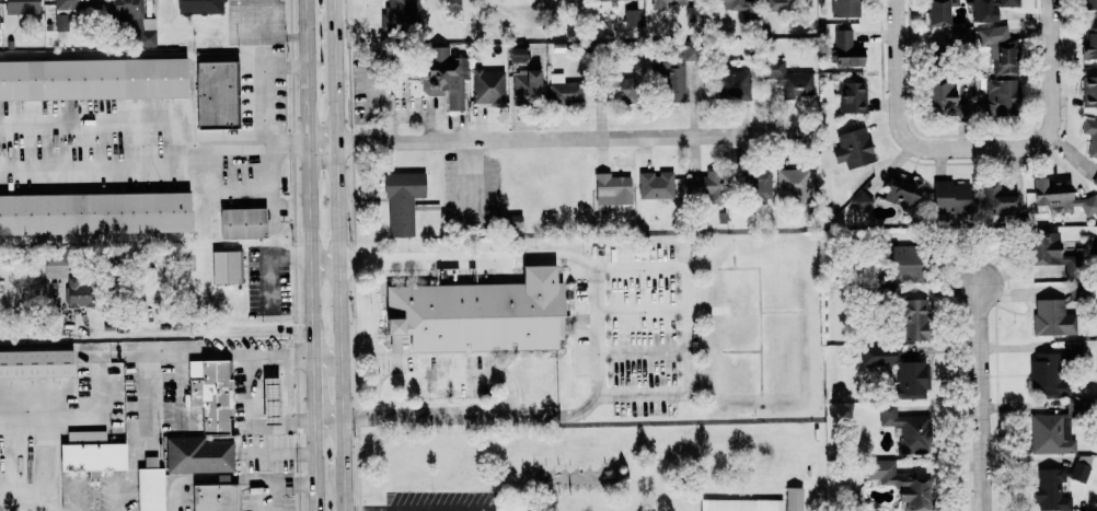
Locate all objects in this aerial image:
building: (604, 0)
building: (667, 2)
building: (1089, 3)
building: (453, 4)
building: (731, 4)
building: (778, 4)
building: (20, 7)
building: (199, 7)
building: (845, 8)
building: (989, 9)
building: (72, 11)
building: (936, 12)
building: (403, 14)
building: (633, 18)
building: (146, 32)
building: (959, 35)
building: (1089, 43)
building: (846, 49)
building: (1000, 49)
building: (515, 55)
building: (672, 70)
road: (1052, 73)
building: (443, 76)
building: (93, 79)
building: (788, 79)
building: (732, 84)
building: (487, 86)
building: (526, 86)
building: (617, 89)
building: (563, 90)
building: (1089, 91)
building: (215, 94)
building: (940, 95)
building: (852, 96)
building: (998, 100)
road: (899, 108)
road: (266, 109)
road: (102, 123)
building: (1090, 137)
road: (563, 138)
road: (253, 144)
road: (1013, 146)
building: (852, 148)
road: (101, 166)
road: (310, 179)
building: (754, 183)
building: (1096, 184)
building: (656, 185)
building: (794, 185)
building: (613, 187)
building: (702, 187)
building: (900, 191)
building: (949, 197)
building: (1060, 198)
building: (996, 199)
building: (402, 201)
building: (861, 201)
building: (94, 213)
building: (511, 221)
building: (241, 222)
building: (1044, 248)
road: (338, 255)
road: (267, 260)
road: (325, 262)
building: (903, 263)
building: (55, 267)
building: (224, 267)
building: (78, 293)
building: (476, 314)
building: (913, 317)
building: (1052, 317)
road: (689, 329)
road: (596, 330)
building: (1072, 350)
road: (229, 355)
road: (327, 360)
building: (36, 363)
building: (899, 371)
building: (1046, 373)
road: (449, 376)
road: (313, 388)
building: (209, 393)
road: (981, 394)
building: (268, 400)
road: (328, 417)
road: (277, 419)
building: (908, 430)
building: (1049, 434)
road: (279, 451)
building: (90, 453)
building: (197, 455)
road: (315, 463)
building: (1079, 472)
building: (898, 481)
road: (280, 483)
building: (149, 486)
building: (1051, 490)
building: (213, 496)
building: (794, 498)
road: (181, 499)
building: (740, 504)
road: (412, 508)
road: (392, 510)

